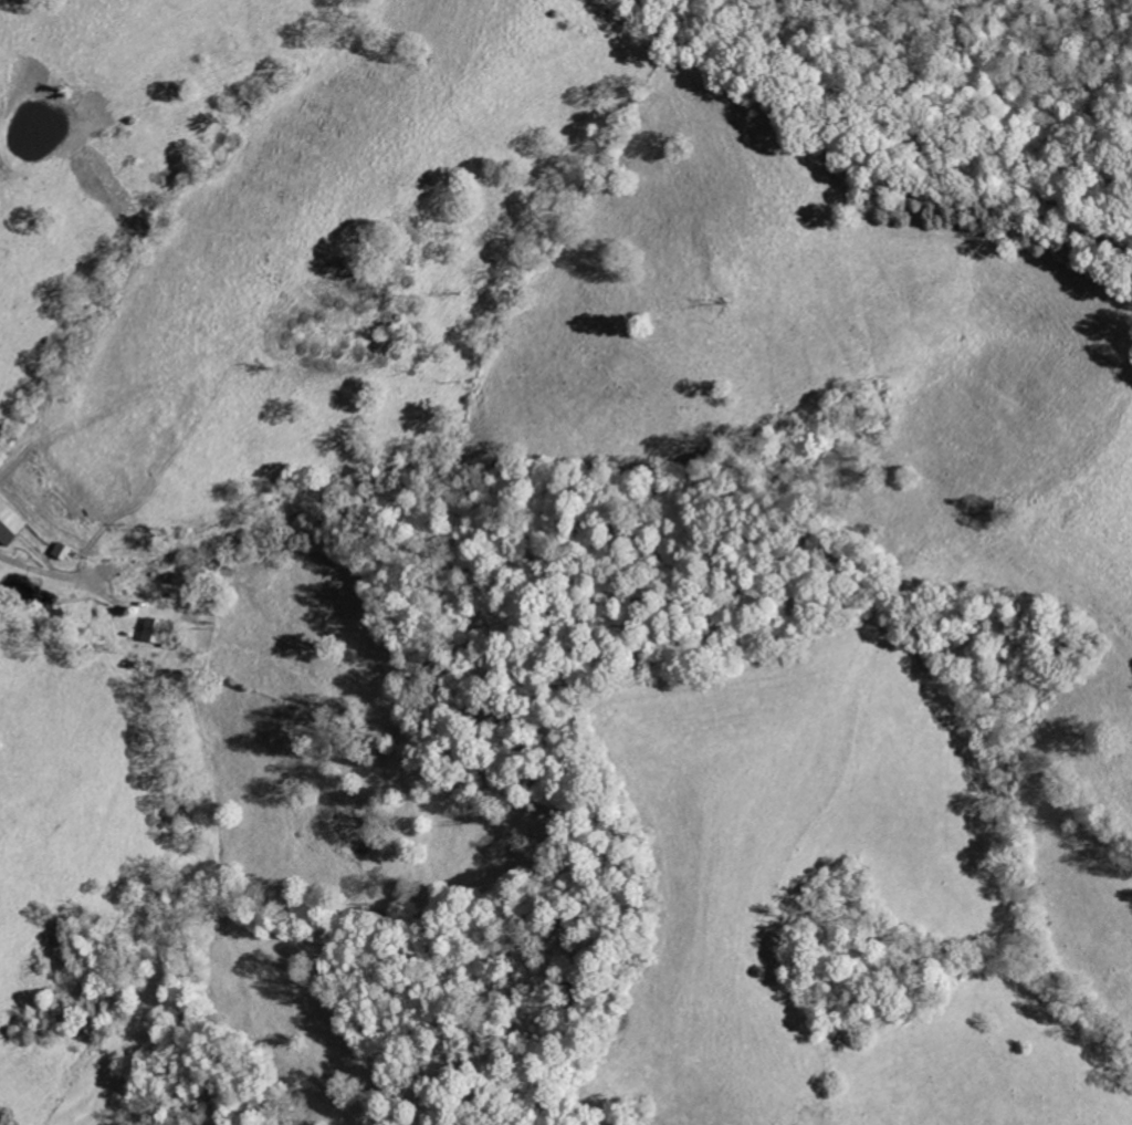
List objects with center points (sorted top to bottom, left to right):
building: (8, 524)
building: (56, 548)
road: (48, 570)
building: (156, 629)

